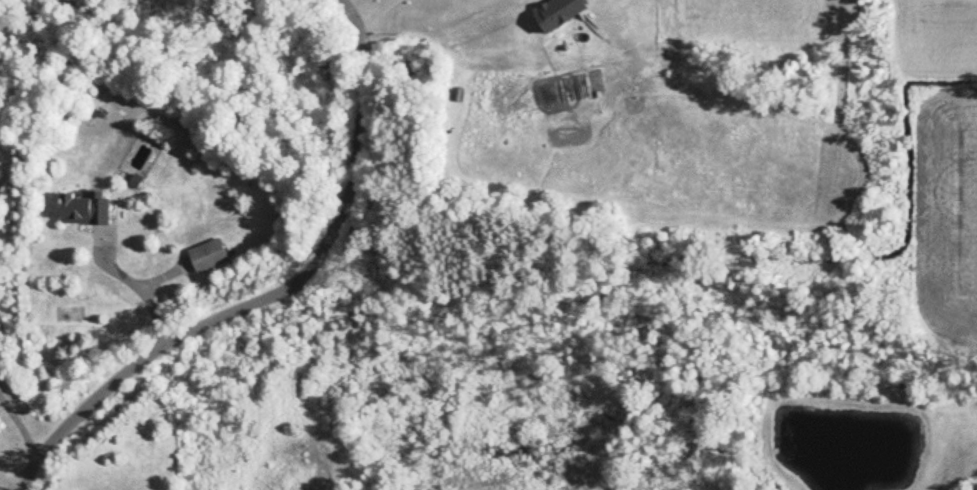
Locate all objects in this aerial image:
road: (372, 19)
building: (86, 207)
building: (211, 254)
road: (147, 290)
road: (273, 293)
road: (21, 424)

